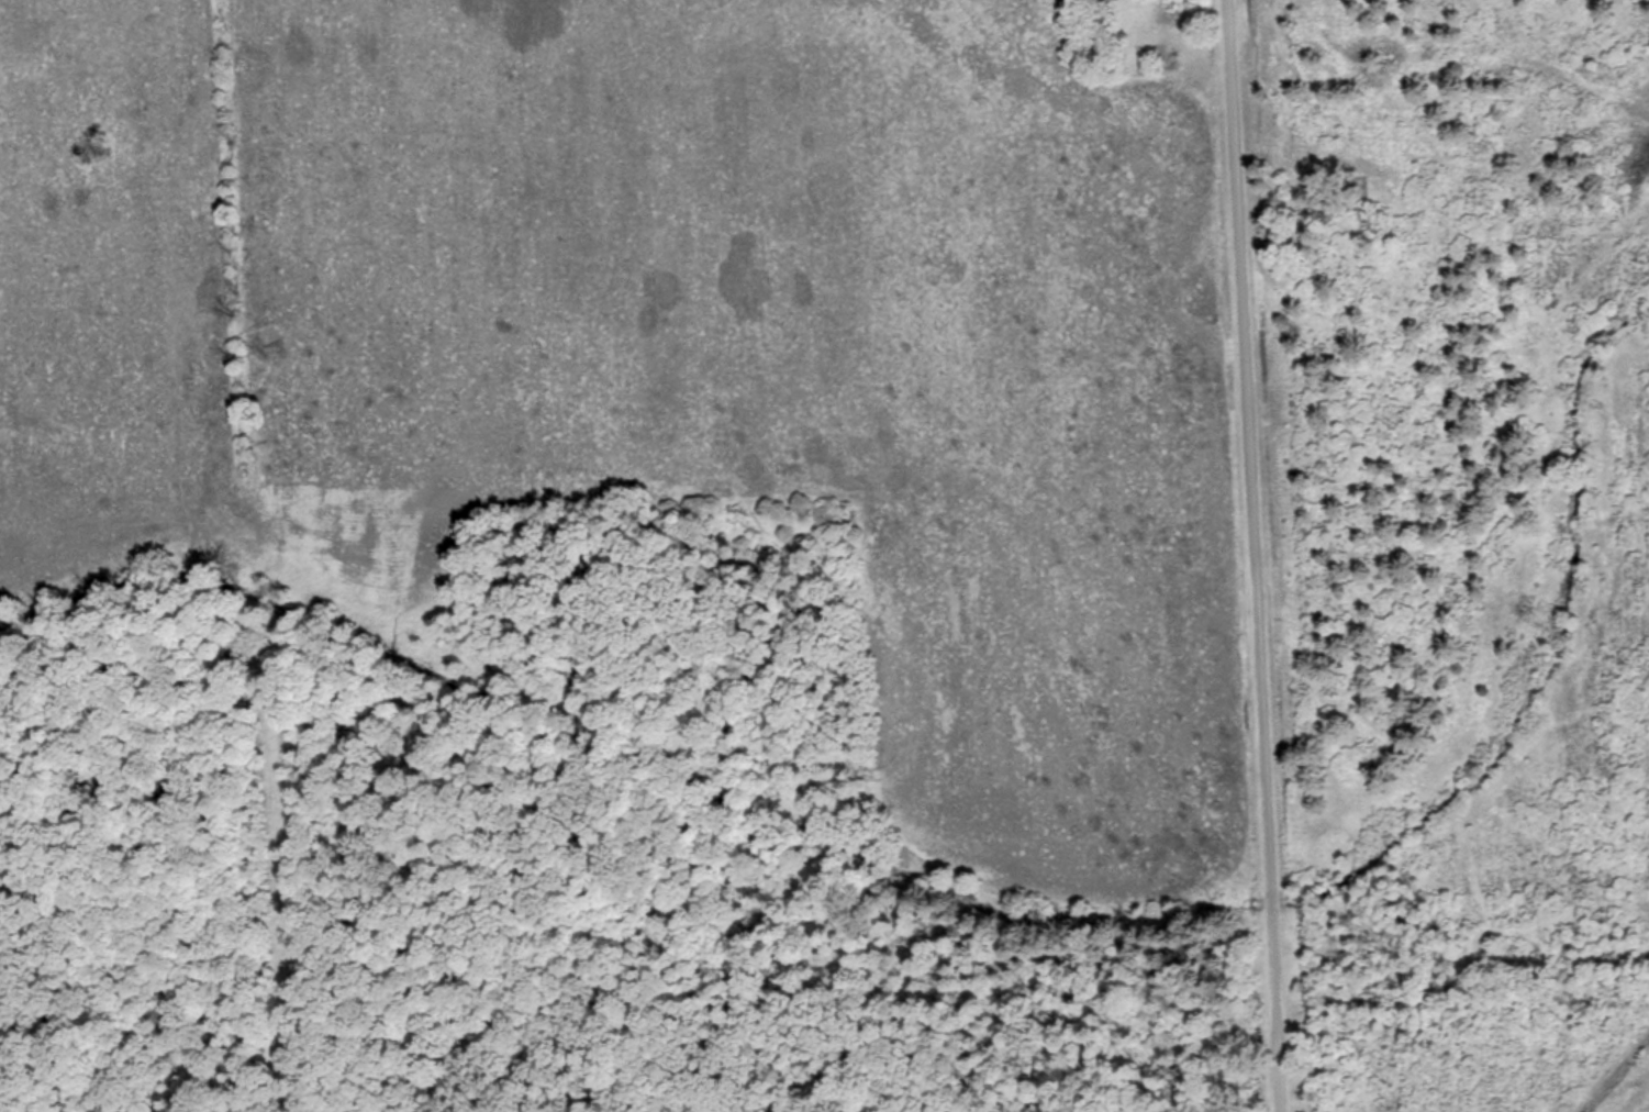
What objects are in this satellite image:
road: (1255, 555)

